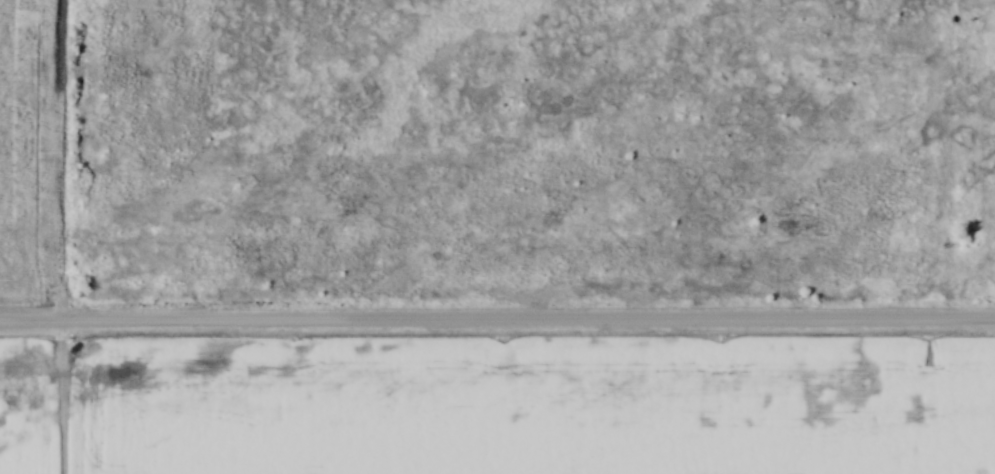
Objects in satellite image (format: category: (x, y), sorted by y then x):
road: (497, 320)

